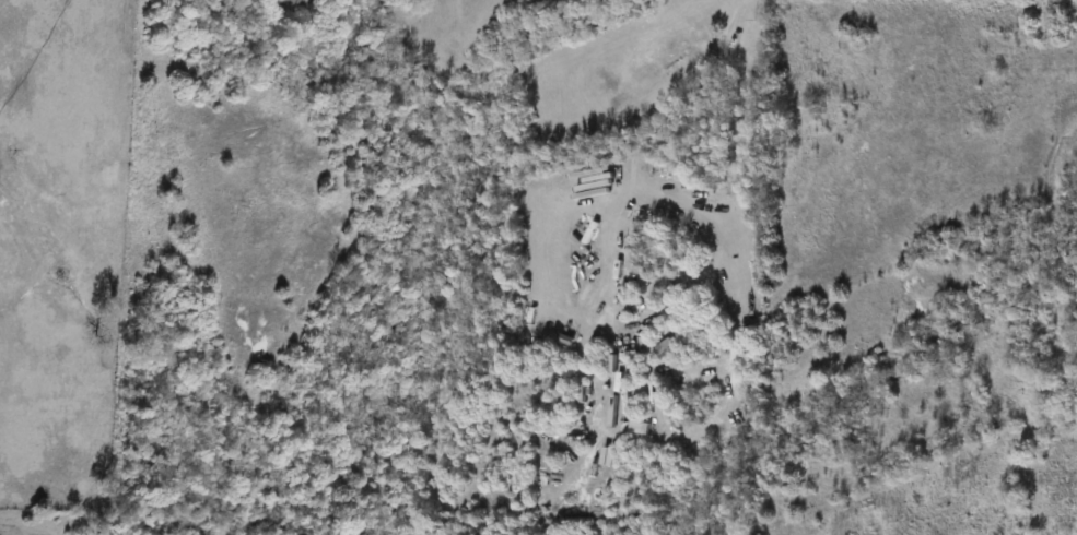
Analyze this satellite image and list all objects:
road: (648, 110)
building: (667, 349)
building: (640, 429)
building: (608, 459)

